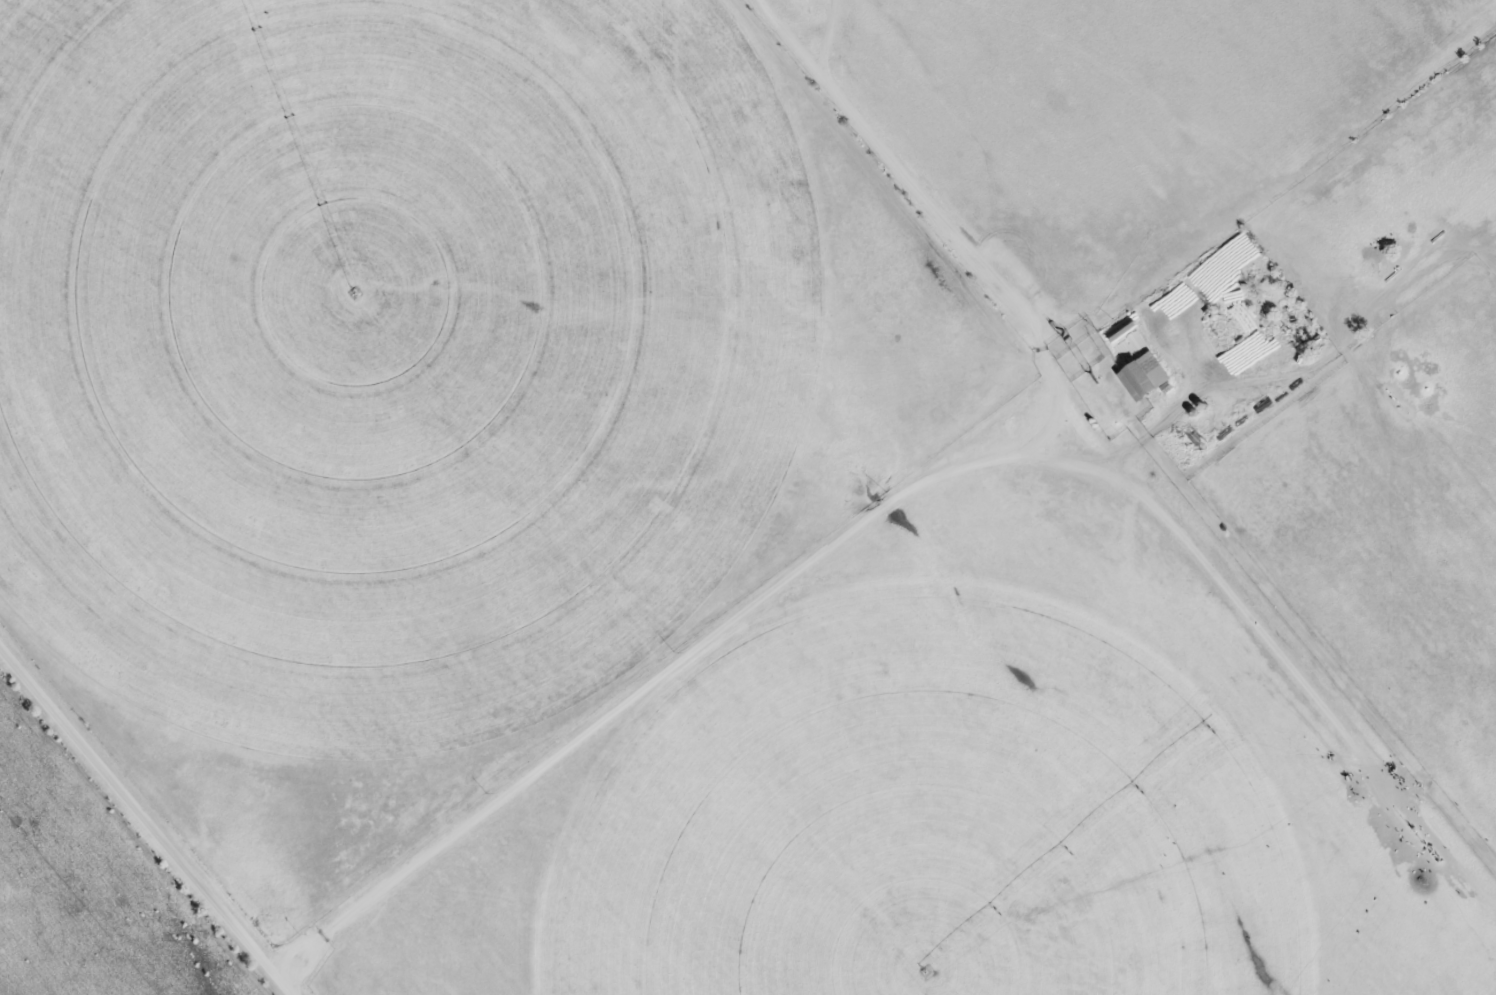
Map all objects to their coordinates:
road: (907, 166)
building: (1139, 378)
road: (685, 650)
road: (146, 820)

